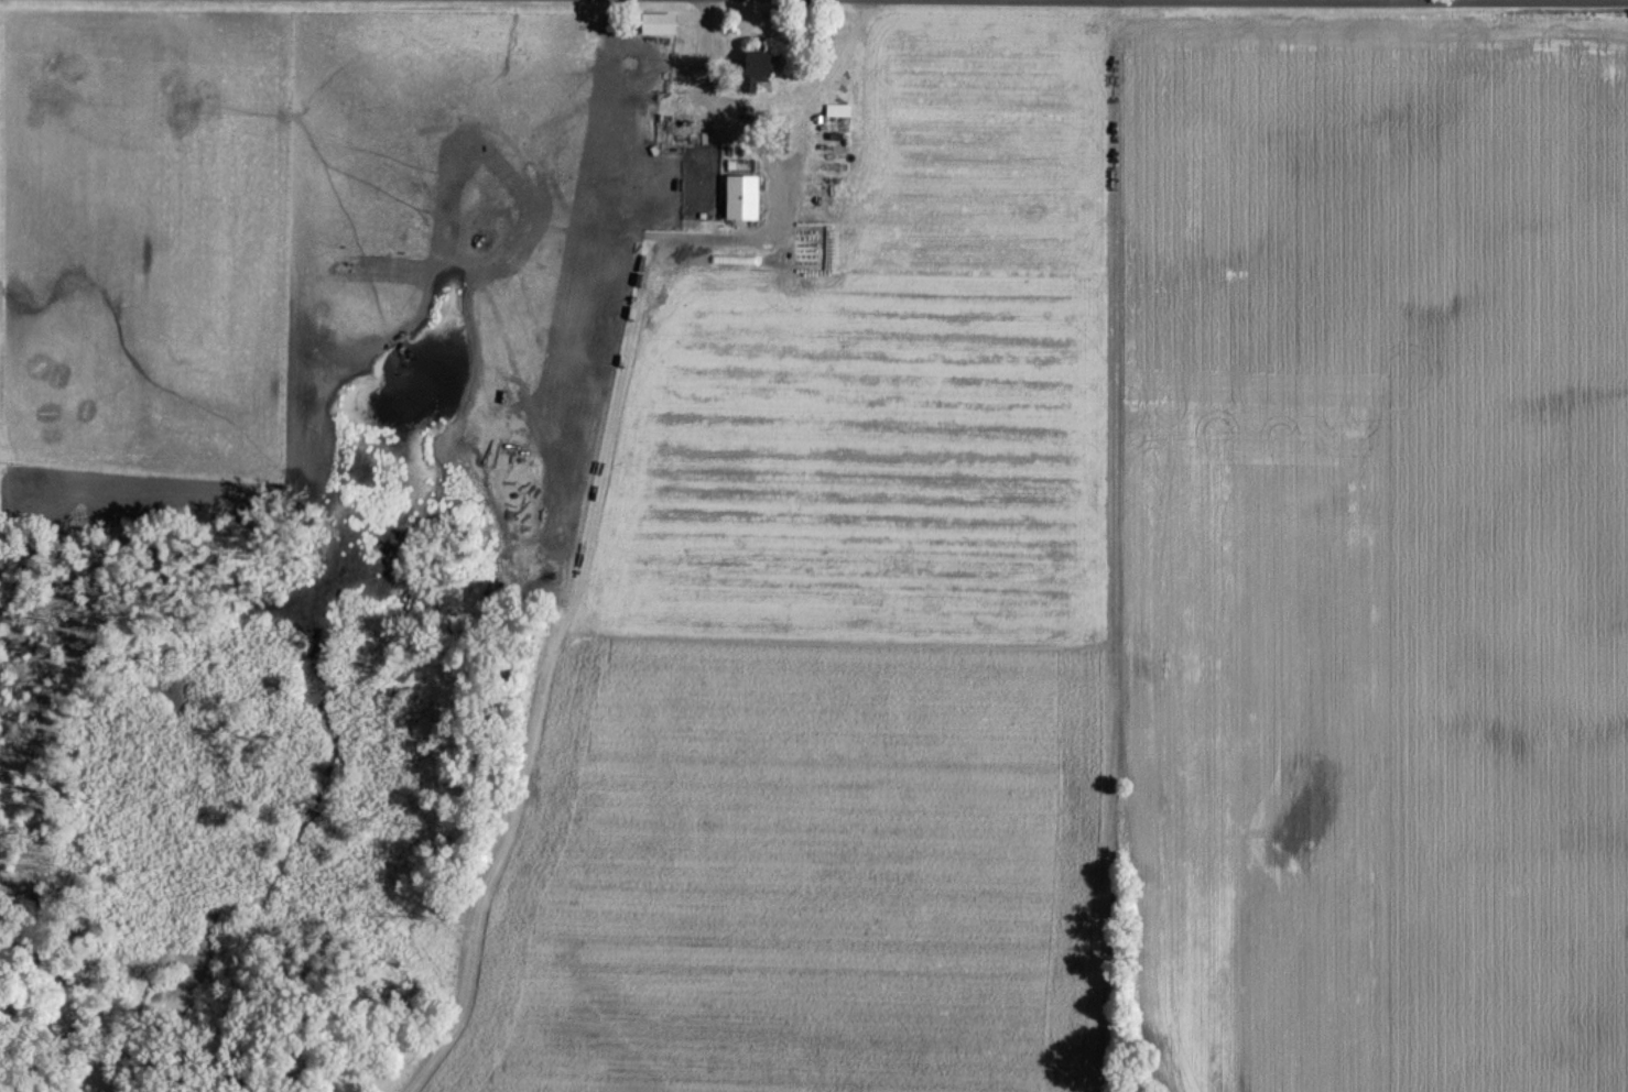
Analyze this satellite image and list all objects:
building: (655, 23)
building: (751, 67)
building: (836, 109)
building: (677, 128)

